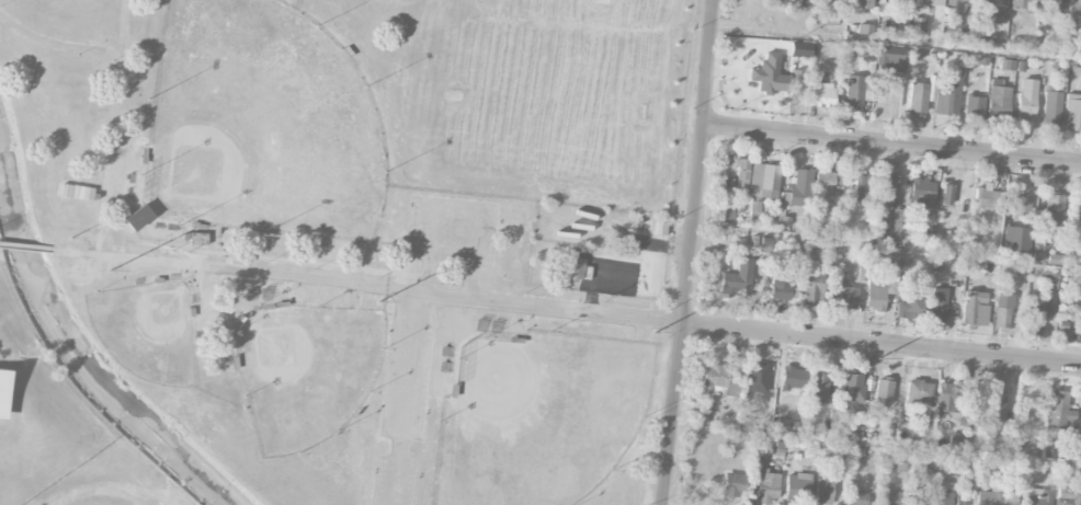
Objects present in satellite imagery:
building: (781, 0)
building: (890, 2)
building: (864, 3)
building: (1019, 3)
building: (933, 4)
building: (957, 5)
building: (1049, 5)
building: (993, 7)
building: (1074, 12)
building: (899, 26)
building: (920, 27)
building: (865, 30)
road: (897, 44)
building: (890, 56)
building: (770, 74)
building: (797, 84)
building: (858, 90)
building: (947, 92)
building: (820, 93)
building: (918, 96)
building: (998, 99)
building: (1027, 99)
building: (974, 107)
building: (1052, 107)
building: (1073, 112)
park: (261, 123)
road: (892, 145)
building: (740, 174)
building: (824, 179)
building: (764, 180)
building: (863, 186)
building: (800, 187)
building: (922, 191)
building: (885, 192)
building: (946, 194)
building: (988, 198)
building: (1021, 203)
building: (1078, 207)
building: (754, 210)
building: (727, 211)
building: (1049, 214)
building: (137, 217)
building: (891, 226)
building: (1016, 234)
road: (24, 246)
park: (335, 249)
road: (691, 252)
building: (894, 257)
building: (1055, 259)
building: (573, 266)
power tower: (111, 274)
road: (275, 276)
building: (738, 279)
building: (1050, 279)
building: (783, 288)
building: (812, 288)
building: (877, 291)
building: (844, 295)
power tower: (379, 300)
building: (910, 305)
building: (938, 305)
building: (975, 308)
building: (1002, 310)
building: (1038, 314)
building: (1062, 333)
power tower: (656, 334)
road: (790, 334)
power tower: (878, 357)
building: (758, 377)
building: (790, 377)
building: (715, 379)
building: (818, 387)
building: (852, 387)
building: (3, 391)
building: (883, 391)
building: (918, 391)
building: (946, 398)
building: (997, 408)
building: (1059, 410)
building: (967, 413)
building: (922, 425)
building: (956, 439)
road: (922, 447)
building: (1074, 449)
building: (898, 462)
building: (919, 462)
building: (733, 484)
building: (798, 484)
building: (766, 486)
building: (823, 490)
building: (942, 493)
building: (1068, 495)
building: (892, 496)
building: (1037, 496)
building: (856, 497)
building: (995, 498)

